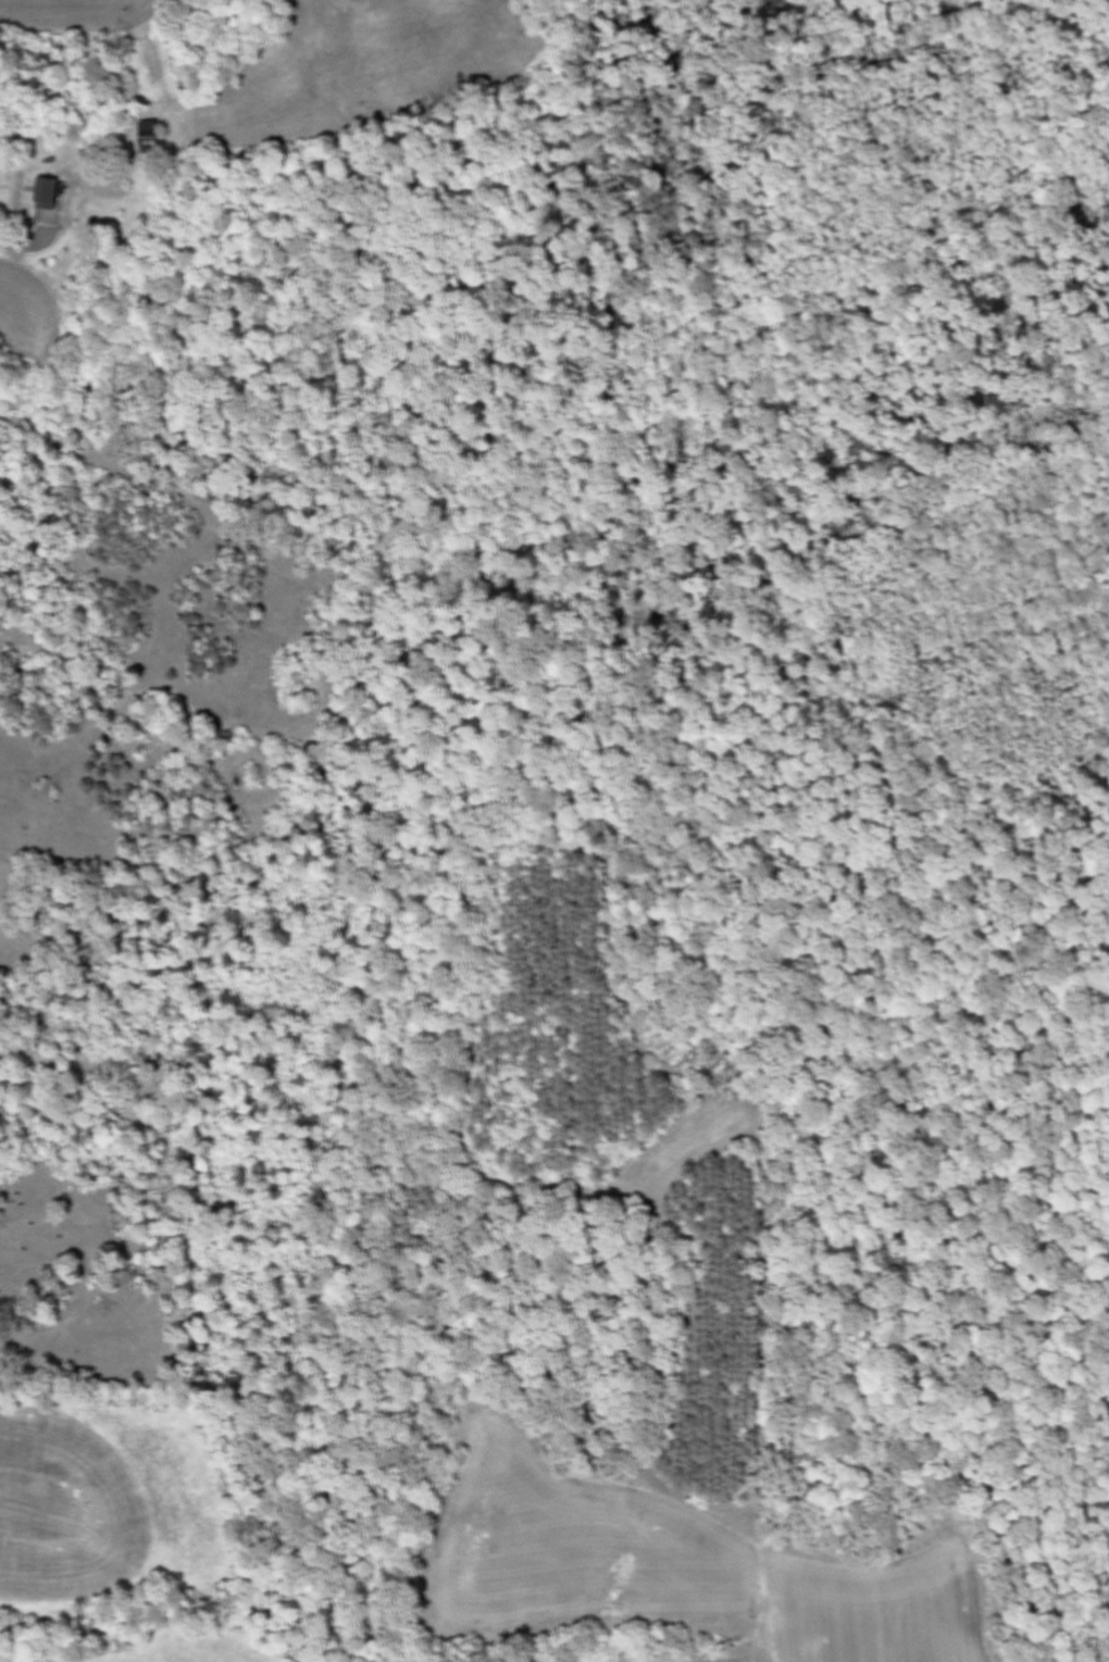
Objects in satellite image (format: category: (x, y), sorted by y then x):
building: (155, 130)
building: (52, 193)

